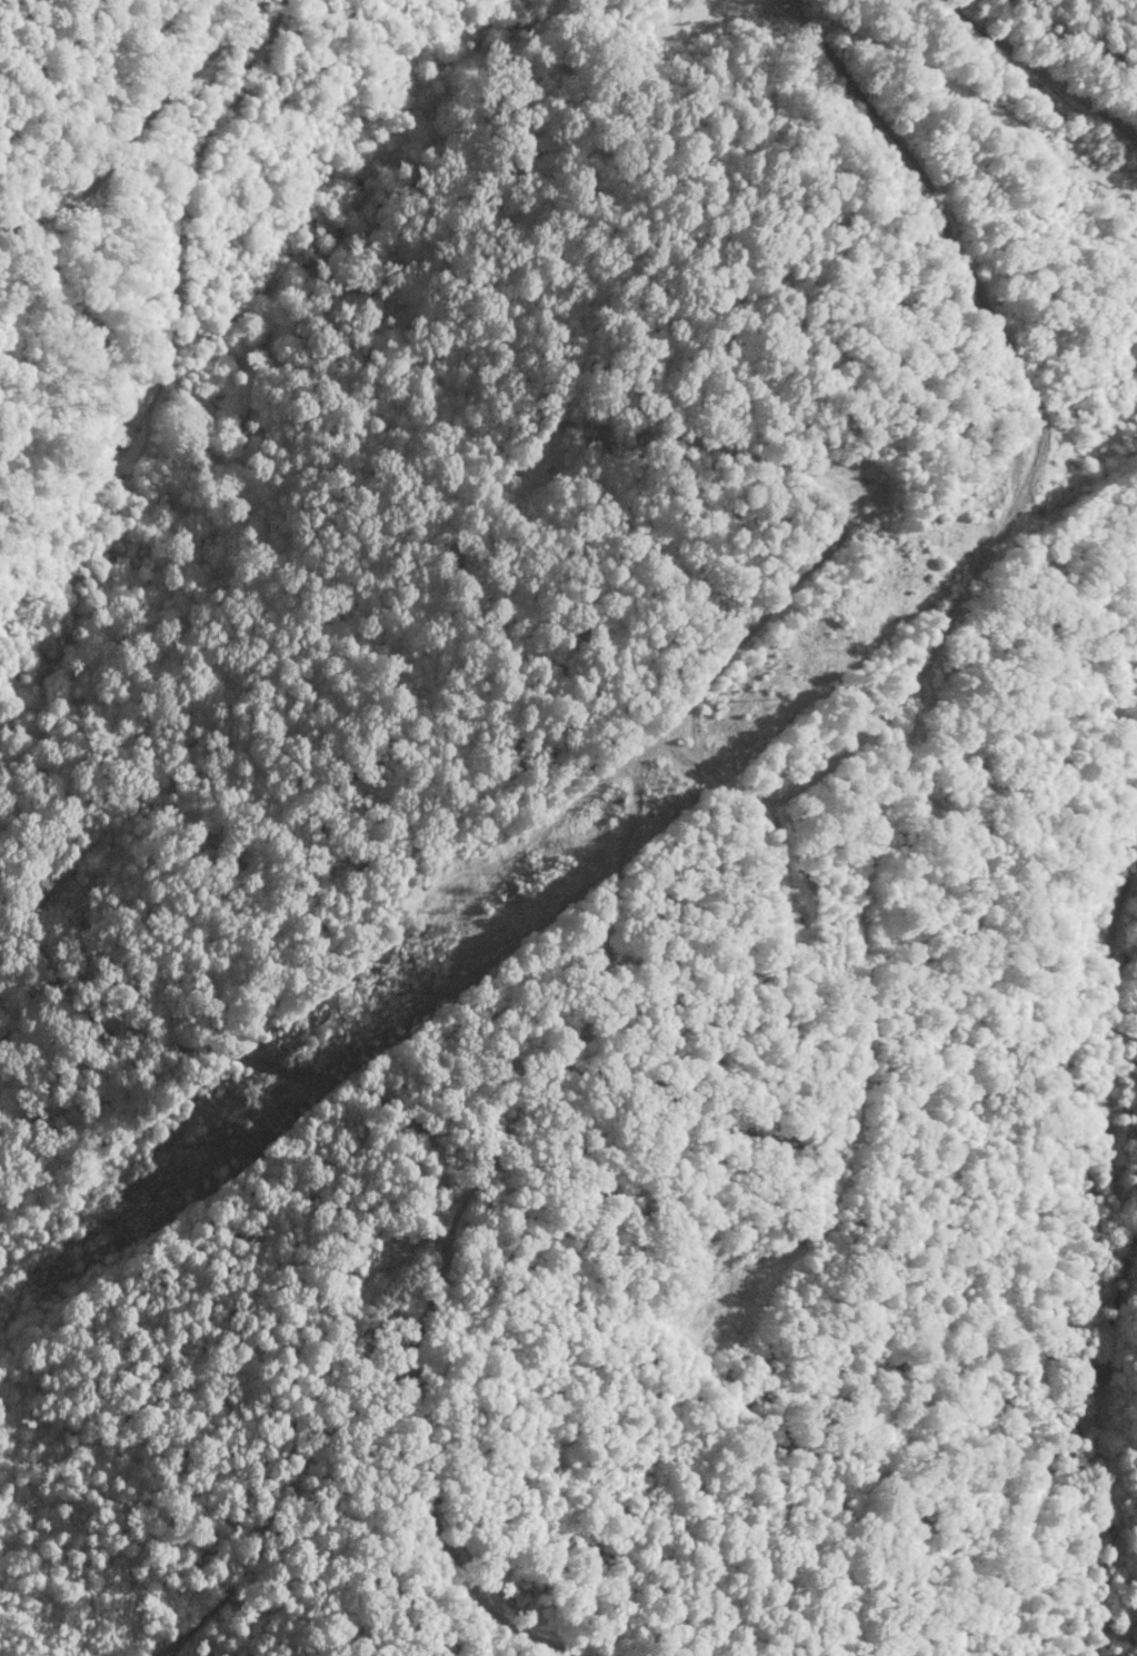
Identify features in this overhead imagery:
road: (110, 113)
power tower: (765, 690)
power tower: (417, 962)

